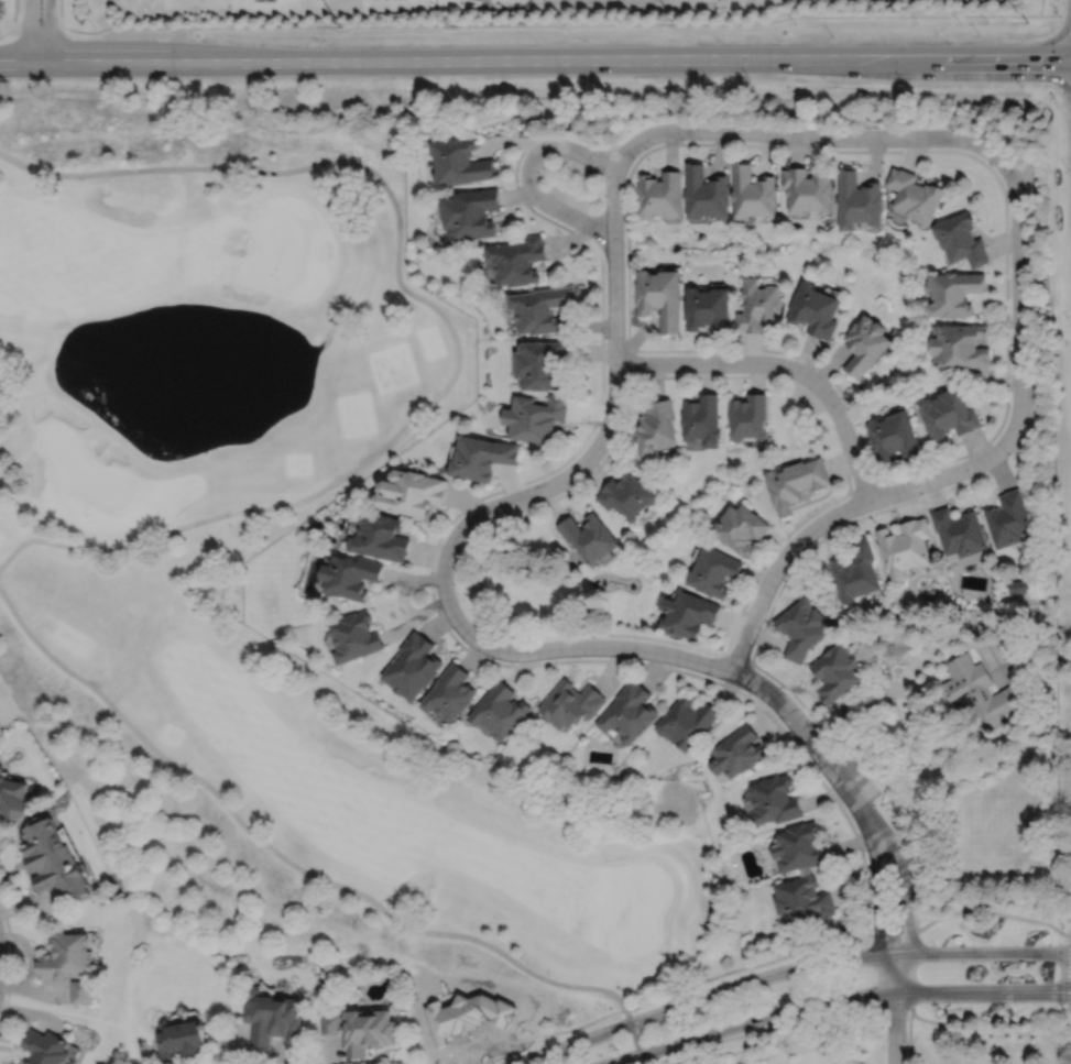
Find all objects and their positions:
road: (1040, 7)
road: (14, 12)
road: (61, 12)
road: (1056, 14)
power tower: (676, 23)
power tower: (1026, 24)
road: (549, 25)
road: (28, 26)
power tower: (340, 28)
road: (30, 31)
road: (48, 31)
road: (535, 61)
road: (812, 136)
street lamp: (684, 140)
street lamp: (782, 144)
street lamp: (885, 146)
building: (460, 162)
street lamp: (991, 165)
parking lot: (576, 167)
road: (528, 174)
street lamp: (518, 179)
parking lot: (1028, 179)
building: (809, 190)
building: (708, 193)
building: (755, 193)
building: (662, 195)
building: (914, 195)
parking lot: (568, 196)
building: (857, 200)
building: (471, 212)
building: (960, 240)
street lamp: (625, 246)
building: (517, 261)
road: (1006, 261)
building: (953, 294)
building: (660, 298)
building: (759, 308)
building: (542, 309)
building: (709, 309)
building: (815, 310)
street lamp: (1009, 319)
road: (449, 327)
street lamp: (605, 337)
building: (864, 344)
building: (960, 347)
road: (630, 361)
road: (783, 364)
building: (542, 366)
street lamp: (723, 372)
parking lot: (807, 396)
street lamp: (840, 396)
road: (626, 406)
building: (948, 414)
parking lot: (1030, 416)
building: (536, 418)
building: (751, 418)
building: (703, 419)
building: (657, 427)
building: (893, 435)
street lamp: (606, 451)
street lamp: (1007, 454)
building: (481, 457)
road: (961, 468)
building: (796, 480)
street lamp: (887, 482)
road: (866, 485)
building: (409, 490)
street lamp: (505, 492)
building: (627, 493)
parking lot: (514, 515)
building: (1008, 517)
building: (741, 526)
building: (959, 529)
building: (589, 535)
building: (380, 536)
street lamp: (788, 536)
building: (904, 546)
road: (808, 549)
building: (854, 570)
building: (715, 571)
building: (349, 574)
building: (1018, 585)
road: (751, 590)
park: (121, 592)
road: (446, 596)
road: (1039, 596)
street lamp: (440, 611)
road: (437, 612)
building: (689, 613)
building: (800, 627)
building: (354, 636)
road: (736, 658)
street lamp: (641, 659)
street lamp: (513, 661)
road: (911, 665)
building: (413, 666)
building: (834, 671)
building: (982, 691)
building: (450, 692)
street lamp: (751, 694)
building: (571, 703)
building: (500, 710)
building: (631, 712)
building: (688, 721)
building: (739, 750)
street lamp: (809, 758)
parking lot: (855, 770)
building: (12, 797)
building: (775, 800)
building: (799, 846)
street lamp: (864, 853)
building: (53, 859)
road: (303, 870)
building: (802, 900)
road: (908, 900)
road: (878, 907)
street lamp: (1064, 926)
road: (1069, 933)
road: (1070, 941)
street lamp: (933, 943)
street lamp: (808, 955)
building: (67, 956)
road: (11, 959)
road: (763, 963)
road: (784, 969)
road: (1068, 973)
street lamp: (690, 991)
building: (83, 992)
road: (833, 997)
street lamp: (935, 1003)
road: (861, 1009)
street lamp: (1065, 1011)
street lamp: (805, 1014)
building: (273, 1019)
road: (895, 1027)
building: (360, 1031)
road: (881, 1034)
road: (909, 1038)
road: (1051, 1038)
building: (182, 1040)
street lamp: (553, 1041)
street lamp: (700, 1045)
building: (46, 1047)
park: (699, 1053)

